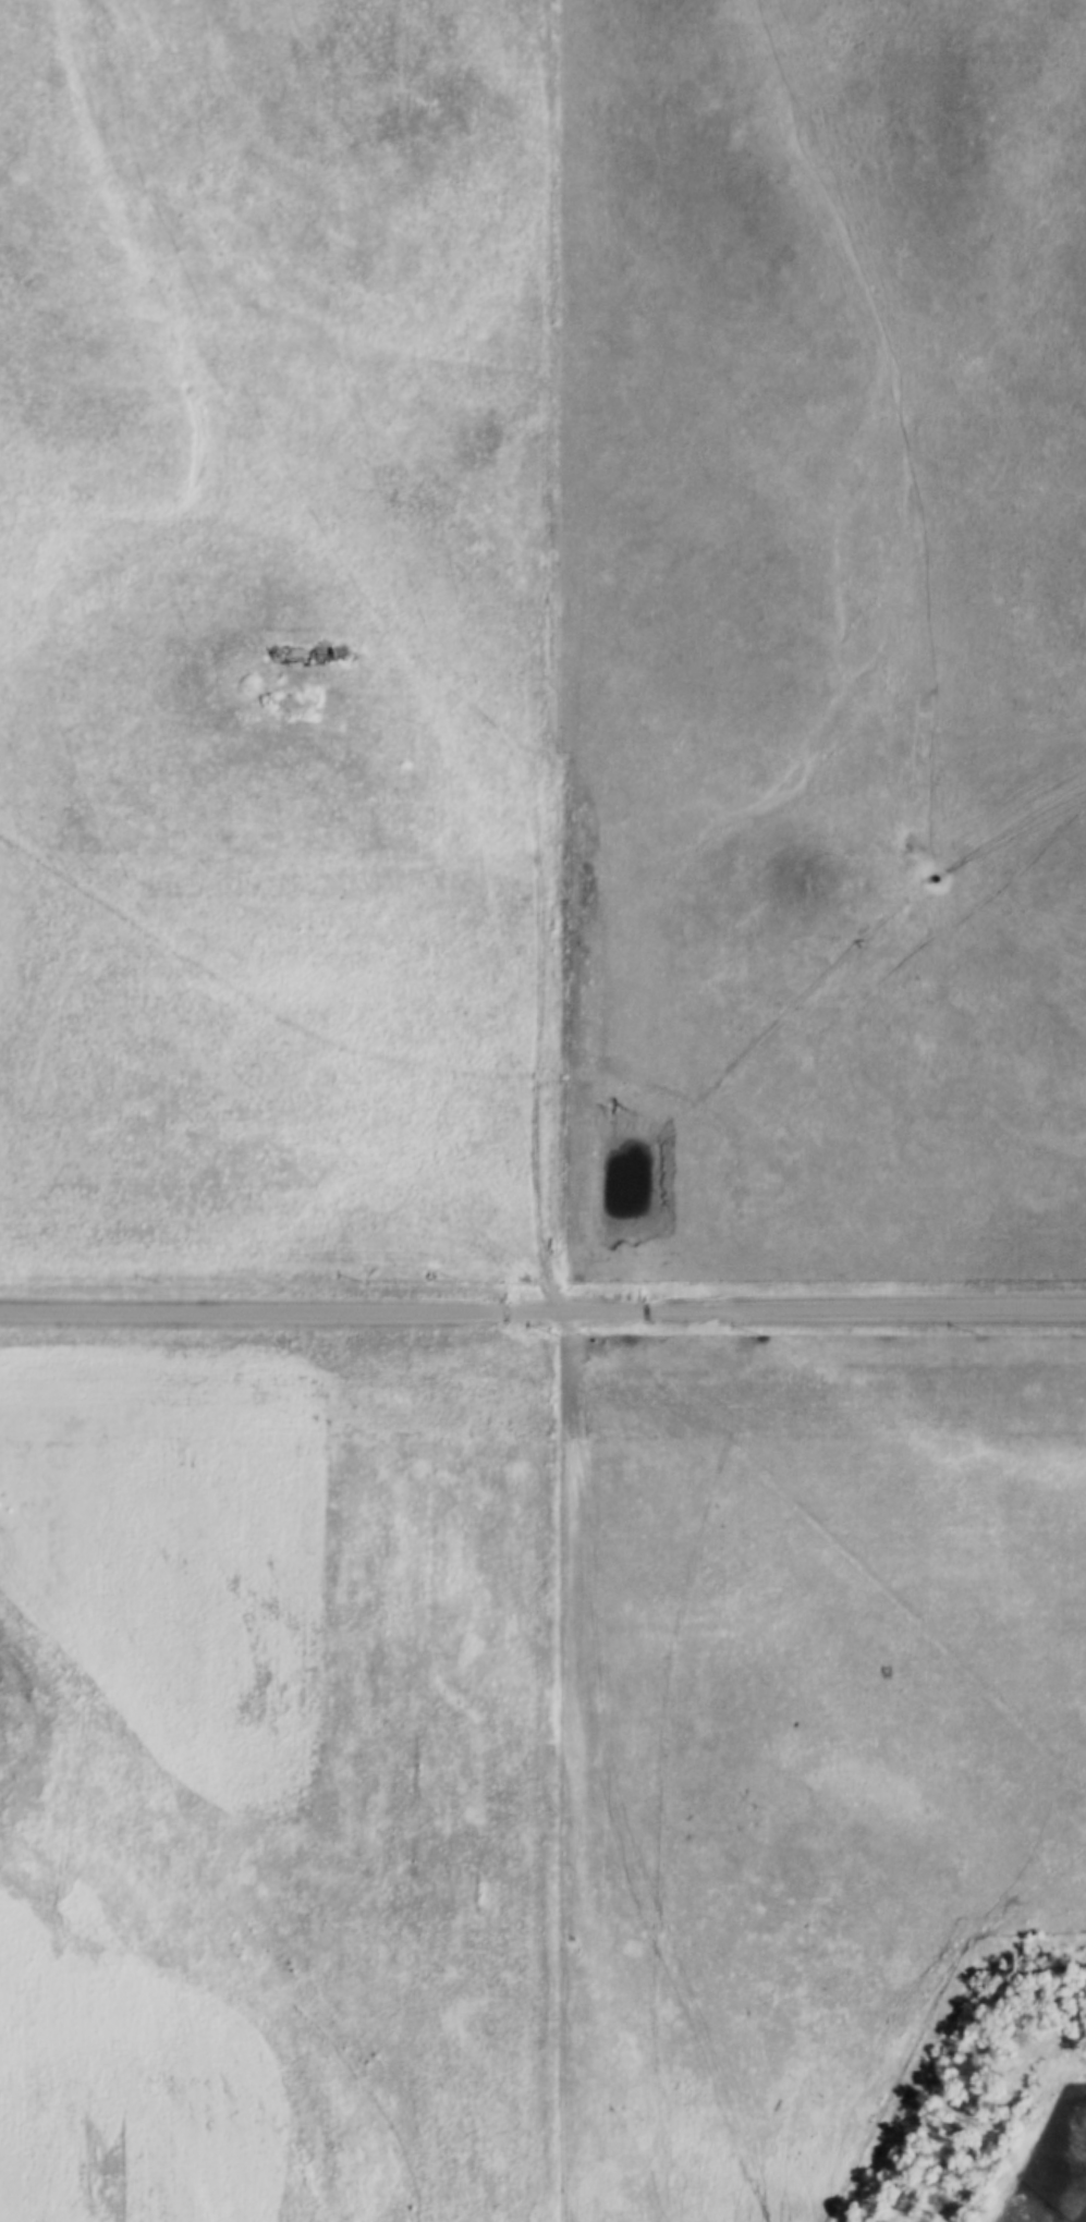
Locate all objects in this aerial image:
road: (551, 651)
road: (542, 1303)

